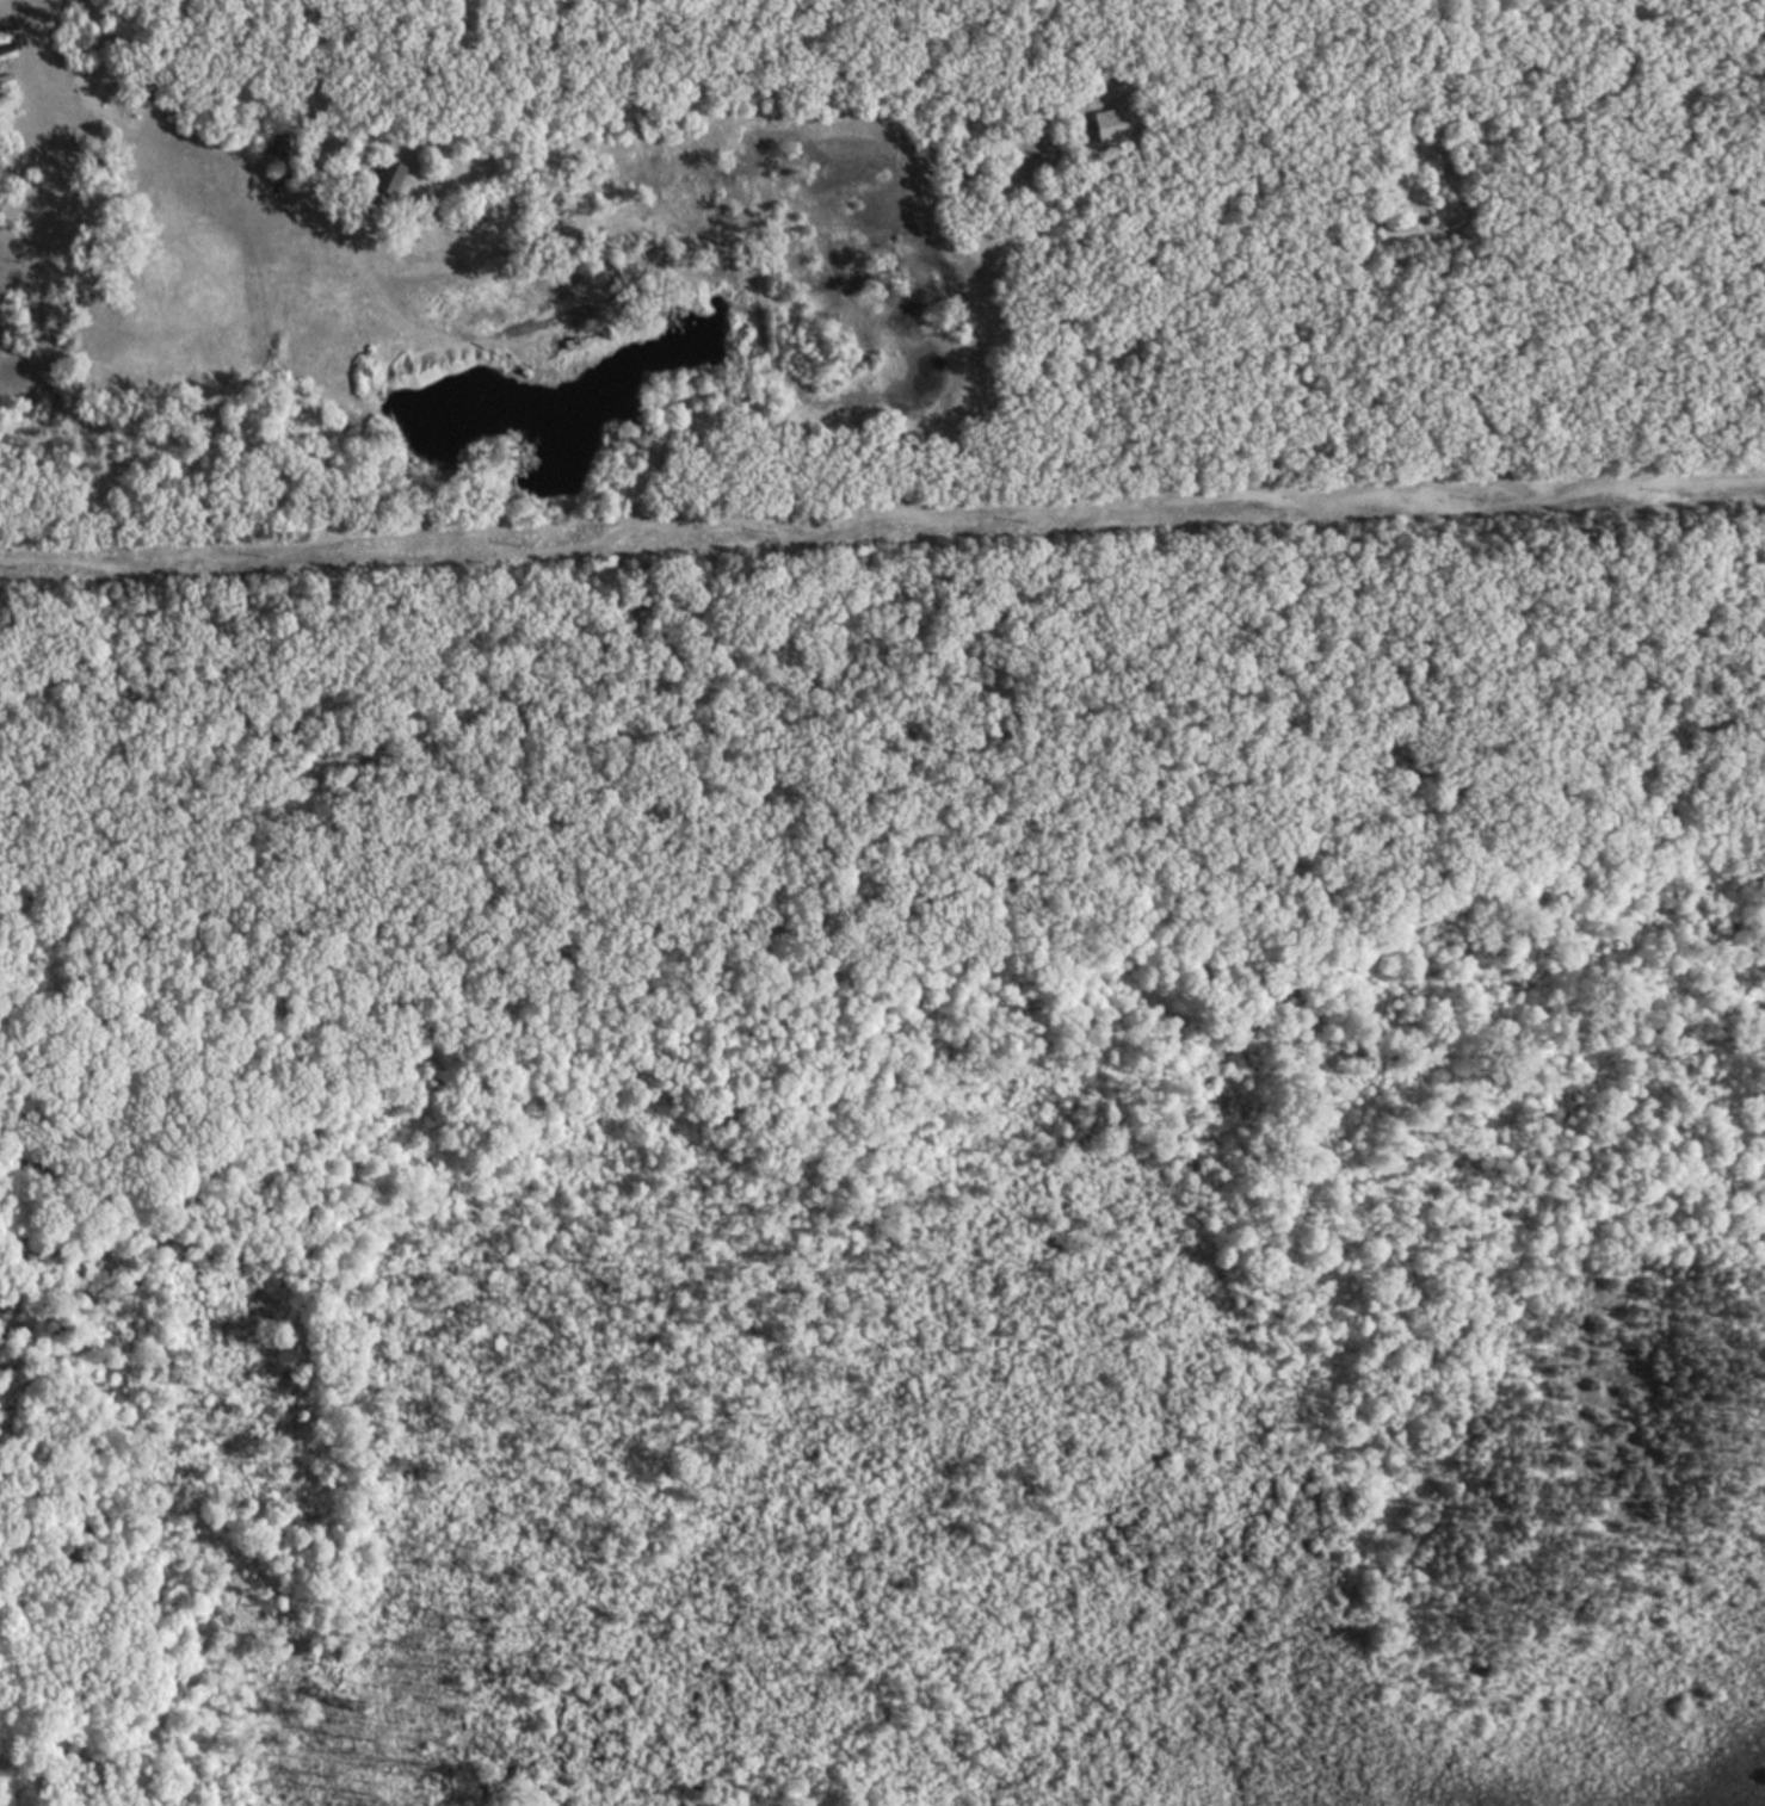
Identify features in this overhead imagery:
building: (6, 47)
building: (1110, 124)
building: (279, 146)
building: (385, 183)
road: (882, 524)
road: (891, 913)

